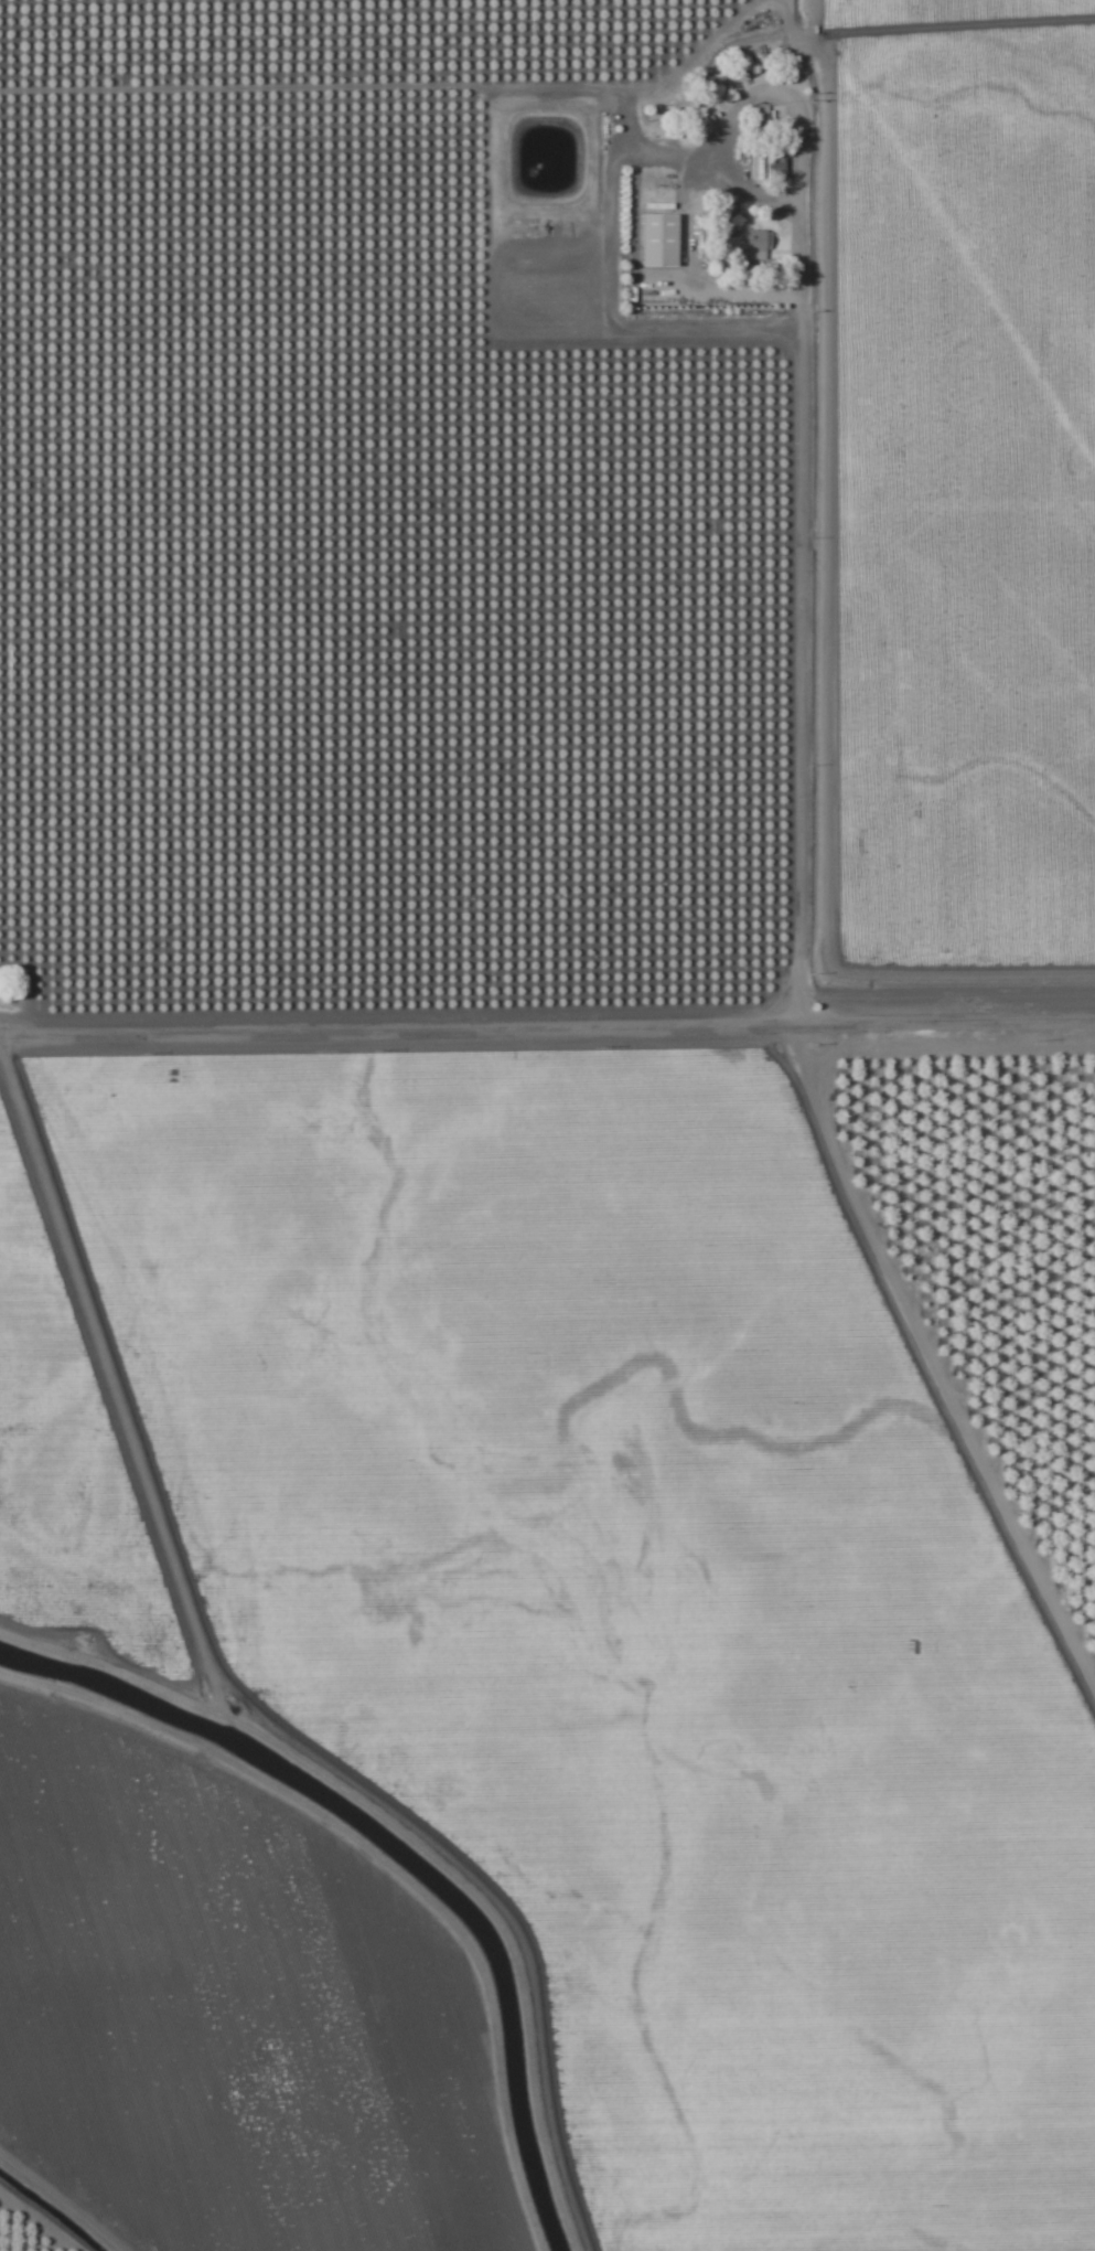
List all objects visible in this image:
building: (761, 117)
building: (775, 167)
building: (710, 237)
building: (662, 241)
building: (754, 241)
road: (930, 611)
road: (932, 984)
road: (547, 1007)
crop: (547, 1125)

